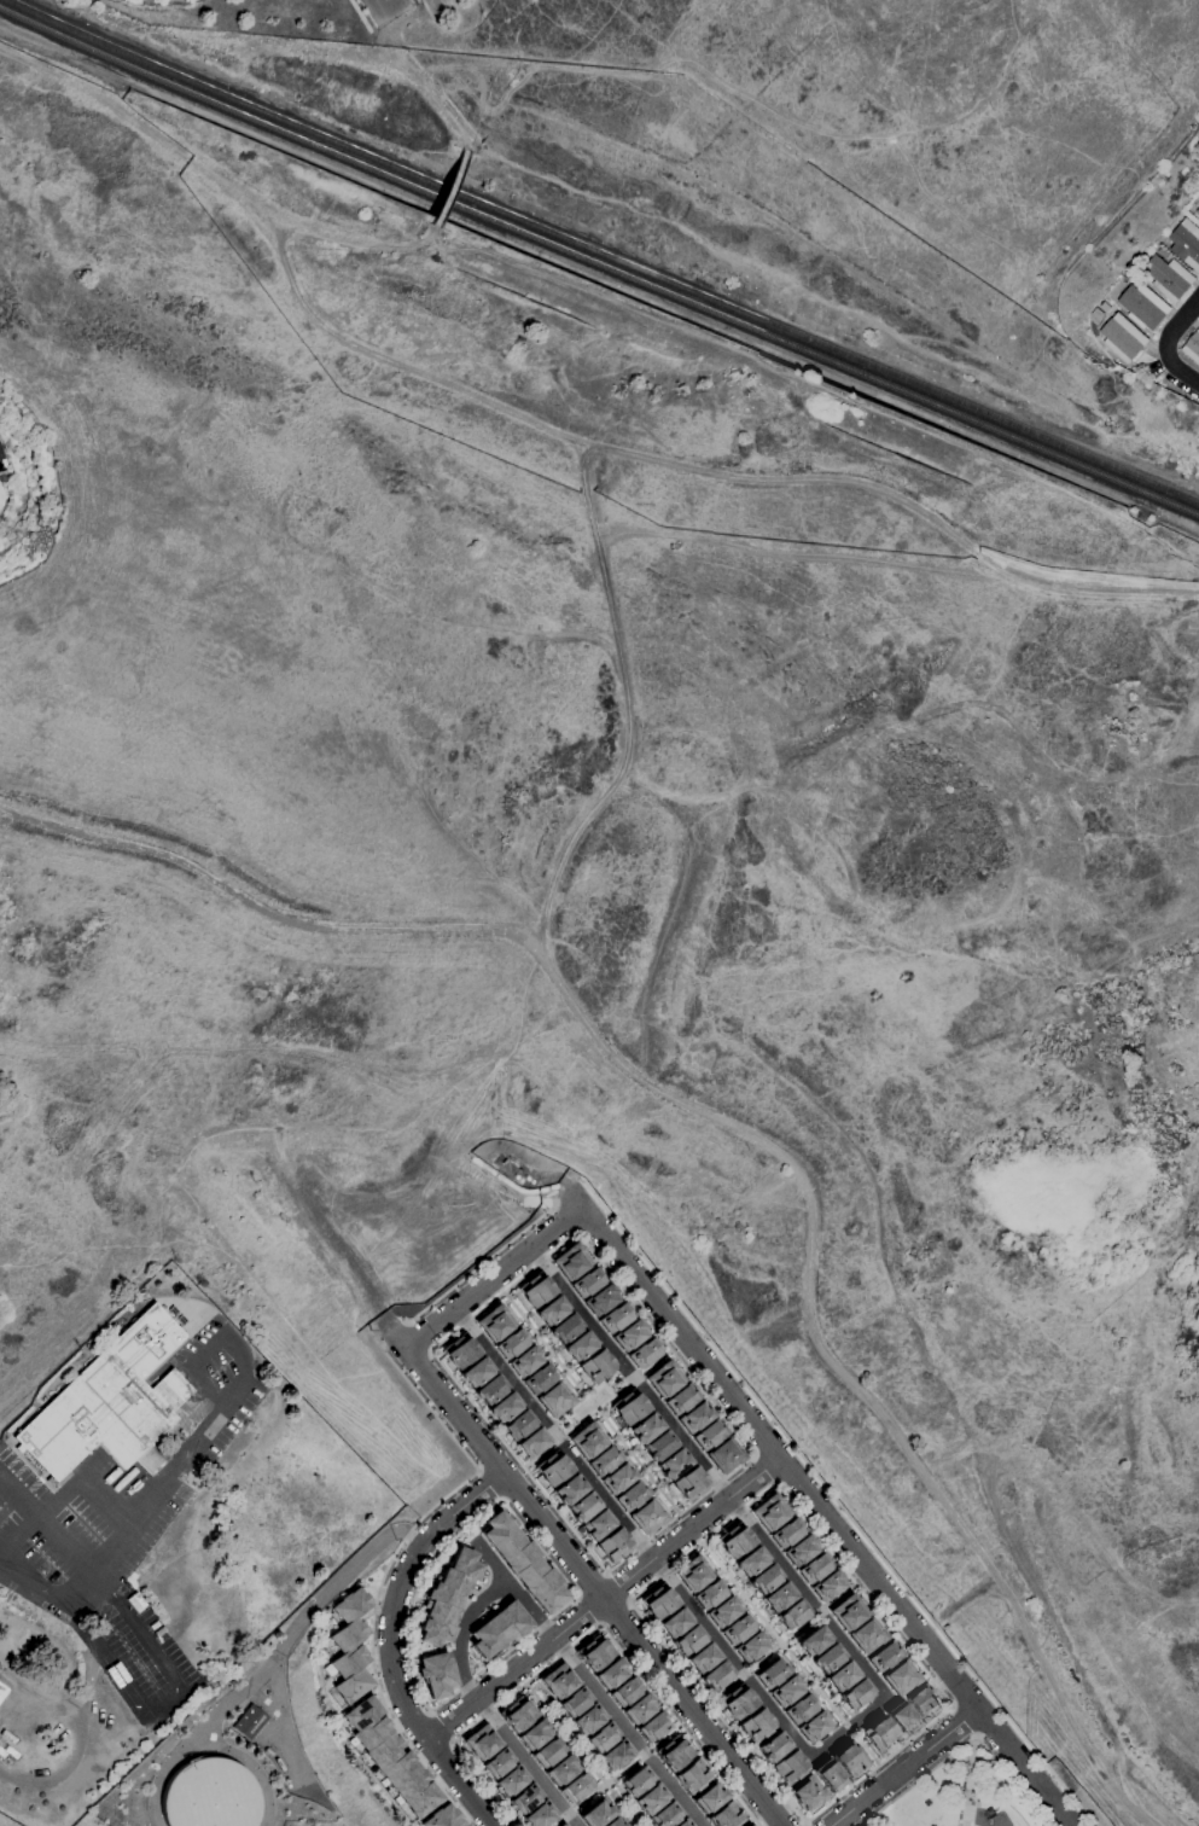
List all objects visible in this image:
building: (362, 1)
road: (403, 1)
road: (377, 7)
road: (392, 7)
road: (359, 14)
park: (252, 17)
park: (896, 63)
building: (1198, 210)
building: (1186, 243)
building: (1162, 252)
railway: (601, 254)
railway: (598, 263)
building: (1169, 278)
building: (1143, 304)
building: (1124, 337)
road: (1166, 343)
building: (1193, 347)
building: (2, 459)
road: (568, 1190)
building: (570, 1261)
road: (479, 1263)
road: (491, 1279)
building: (584, 1283)
building: (534, 1287)
building: (599, 1299)
building: (549, 1309)
building: (612, 1316)
building: (494, 1321)
building: (564, 1326)
building: (627, 1334)
road: (417, 1337)
road: (391, 1338)
building: (508, 1342)
building: (577, 1344)
road: (543, 1345)
building: (459, 1348)
building: (640, 1353)
building: (523, 1360)
building: (594, 1366)
building: (473, 1369)
road: (629, 1374)
building: (537, 1377)
building: (663, 1377)
road: (633, 1380)
building: (487, 1388)
road: (584, 1397)
building: (677, 1397)
building: (552, 1398)
park: (589, 1403)
building: (111, 1405)
building: (501, 1406)
building: (627, 1407)
road: (430, 1412)
road: (220, 1414)
building: (691, 1417)
building: (516, 1424)
building: (642, 1426)
road: (552, 1434)
building: (705, 1434)
building: (584, 1440)
building: (530, 1441)
road: (621, 1442)
building: (656, 1444)
building: (723, 1454)
building: (601, 1460)
building: (670, 1461)
building: (551, 1466)
road: (762, 1471)
road: (792, 1472)
building: (615, 1478)
building: (687, 1483)
road: (484, 1487)
building: (568, 1487)
road: (69, 1490)
building: (629, 1496)
road: (839, 1502)
building: (581, 1505)
building: (769, 1512)
building: (646, 1516)
road: (825, 1519)
building: (594, 1522)
road: (520, 1524)
road: (48, 1528)
parking lot: (123, 1531)
building: (786, 1533)
building: (612, 1542)
road: (702, 1542)
building: (735, 1542)
building: (799, 1551)
building: (750, 1560)
building: (523, 1563)
building: (815, 1568)
road: (605, 1571)
road: (605, 1574)
building: (692, 1574)
building: (764, 1578)
road: (594, 1584)
building: (827, 1586)
road: (34, 1587)
road: (83, 1589)
building: (709, 1594)
building: (779, 1597)
building: (447, 1598)
road: (600, 1598)
building: (658, 1603)
road: (586, 1610)
building: (723, 1612)
building: (849, 1612)
building: (792, 1613)
road: (615, 1617)
building: (674, 1623)
road: (297, 1627)
building: (499, 1629)
building: (737, 1630)
road: (461, 1633)
building: (867, 1635)
road: (583, 1636)
building: (688, 1640)
building: (814, 1640)
road: (391, 1642)
road: (781, 1642)
road: (372, 1644)
building: (350, 1646)
building: (751, 1647)
building: (594, 1653)
road: (788, 1653)
building: (884, 1657)
building: (702, 1658)
building: (827, 1658)
building: (611, 1673)
building: (773, 1673)
building: (436, 1675)
building: (716, 1675)
building: (842, 1675)
building: (900, 1676)
building: (559, 1680)
road: (586, 1685)
building: (2, 1691)
building: (624, 1691)
building: (787, 1691)
building: (856, 1692)
road: (967, 1694)
road: (170, 1700)
building: (919, 1700)
building: (575, 1702)
building: (737, 1702)
road: (66, 1705)
building: (639, 1708)
building: (801, 1708)
road: (408, 1714)
building: (517, 1715)
building: (588, 1719)
building: (901, 1719)
road: (964, 1720)
road: (988, 1721)
building: (250, 1722)
road: (279, 1725)
building: (652, 1726)
building: (755, 1726)
building: (815, 1726)
road: (441, 1727)
road: (848, 1727)
building: (879, 1732)
building: (534, 1734)
building: (7, 1735)
building: (603, 1737)
building: (481, 1743)
road: (962, 1743)
building: (772, 1746)
building: (548, 1751)
building: (7, 1752)
building: (617, 1754)
road: (437, 1755)
road: (580, 1755)
building: (673, 1755)
building: (391, 1757)
building: (846, 1761)
road: (525, 1763)
building: (497, 1764)
road: (878, 1764)
road: (903, 1766)
building: (788, 1767)
building: (561, 1769)
road: (616, 1775)
building: (692, 1776)
building: (827, 1776)
road: (968, 1780)
building: (511, 1781)
building: (638, 1781)
building: (576, 1787)
building: (209, 1795)
building: (803, 1795)
park: (960, 1795)
building: (709, 1797)
building: (525, 1799)
building: (651, 1799)
building: (596, 1813)
building: (539, 1814)
building: (667, 1815)
building: (724, 1816)
building: (443, 1818)
building: (612, 1822)
building: (682, 1822)
road: (801, 1824)
road: (804, 1824)
building: (465, 1825)
building: (561, 1825)
building: (623, 1825)
building: (746, 1825)

